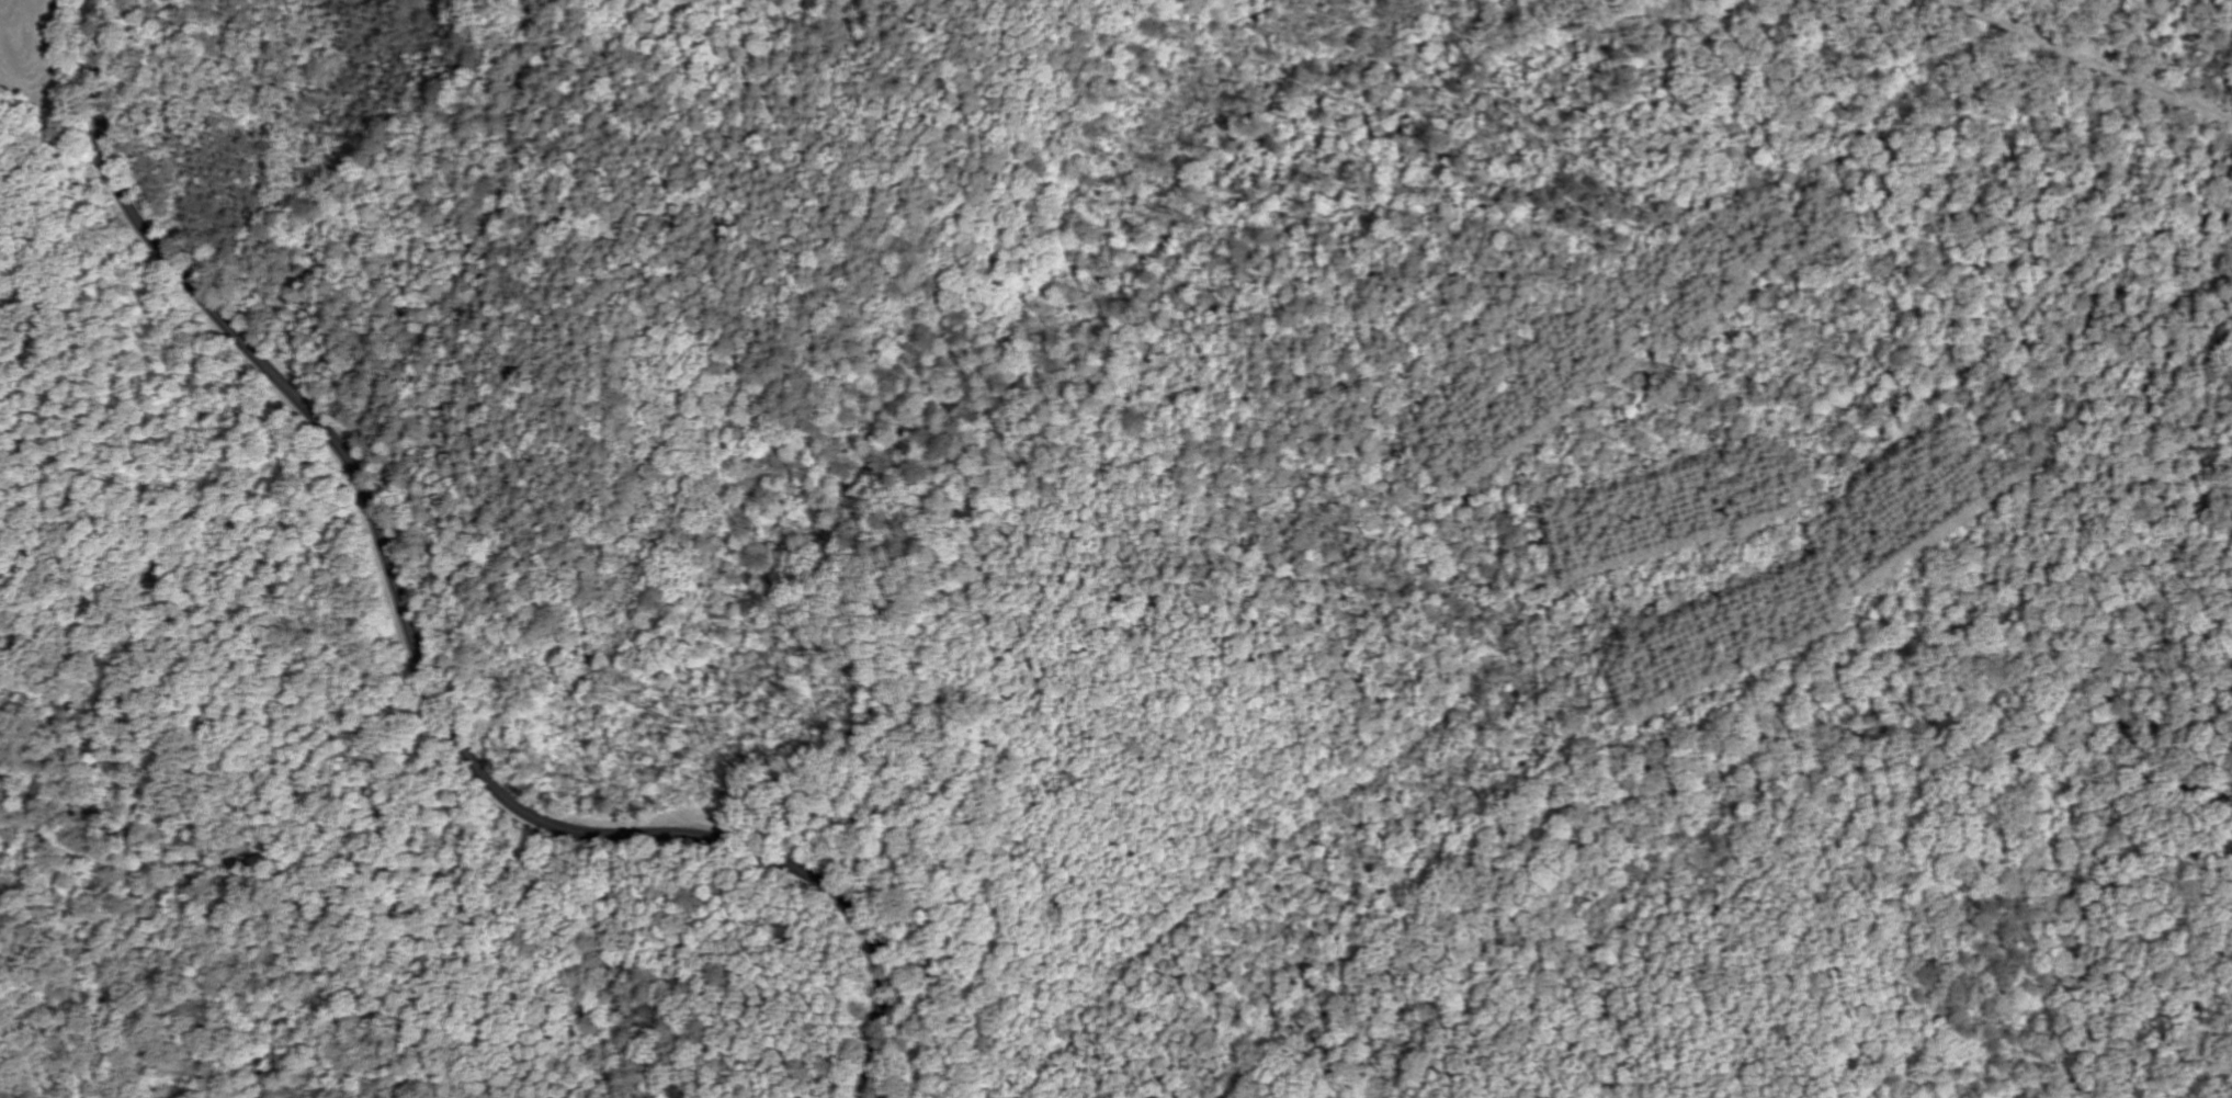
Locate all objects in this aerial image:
road: (909, 483)
road: (419, 648)
road: (1706, 793)

